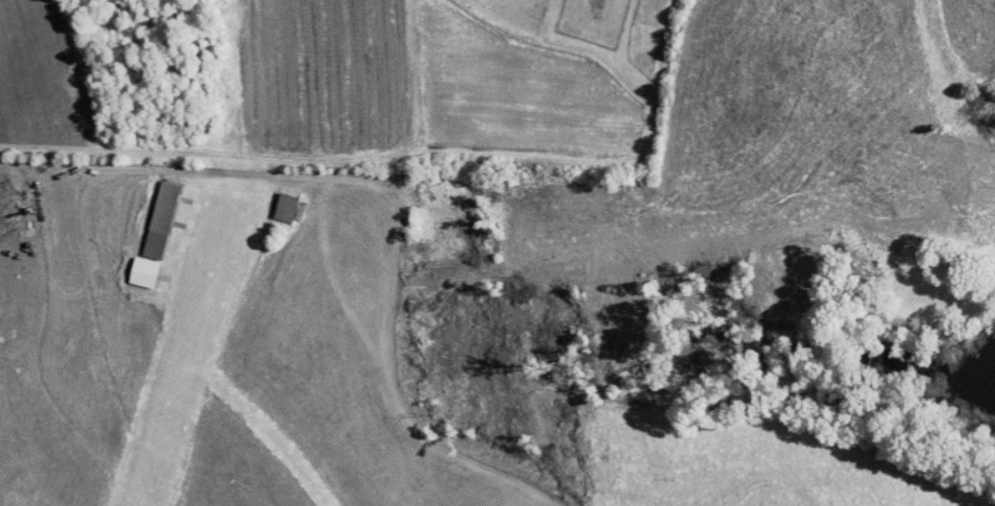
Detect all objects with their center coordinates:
building: (273, 200)
building: (147, 213)

